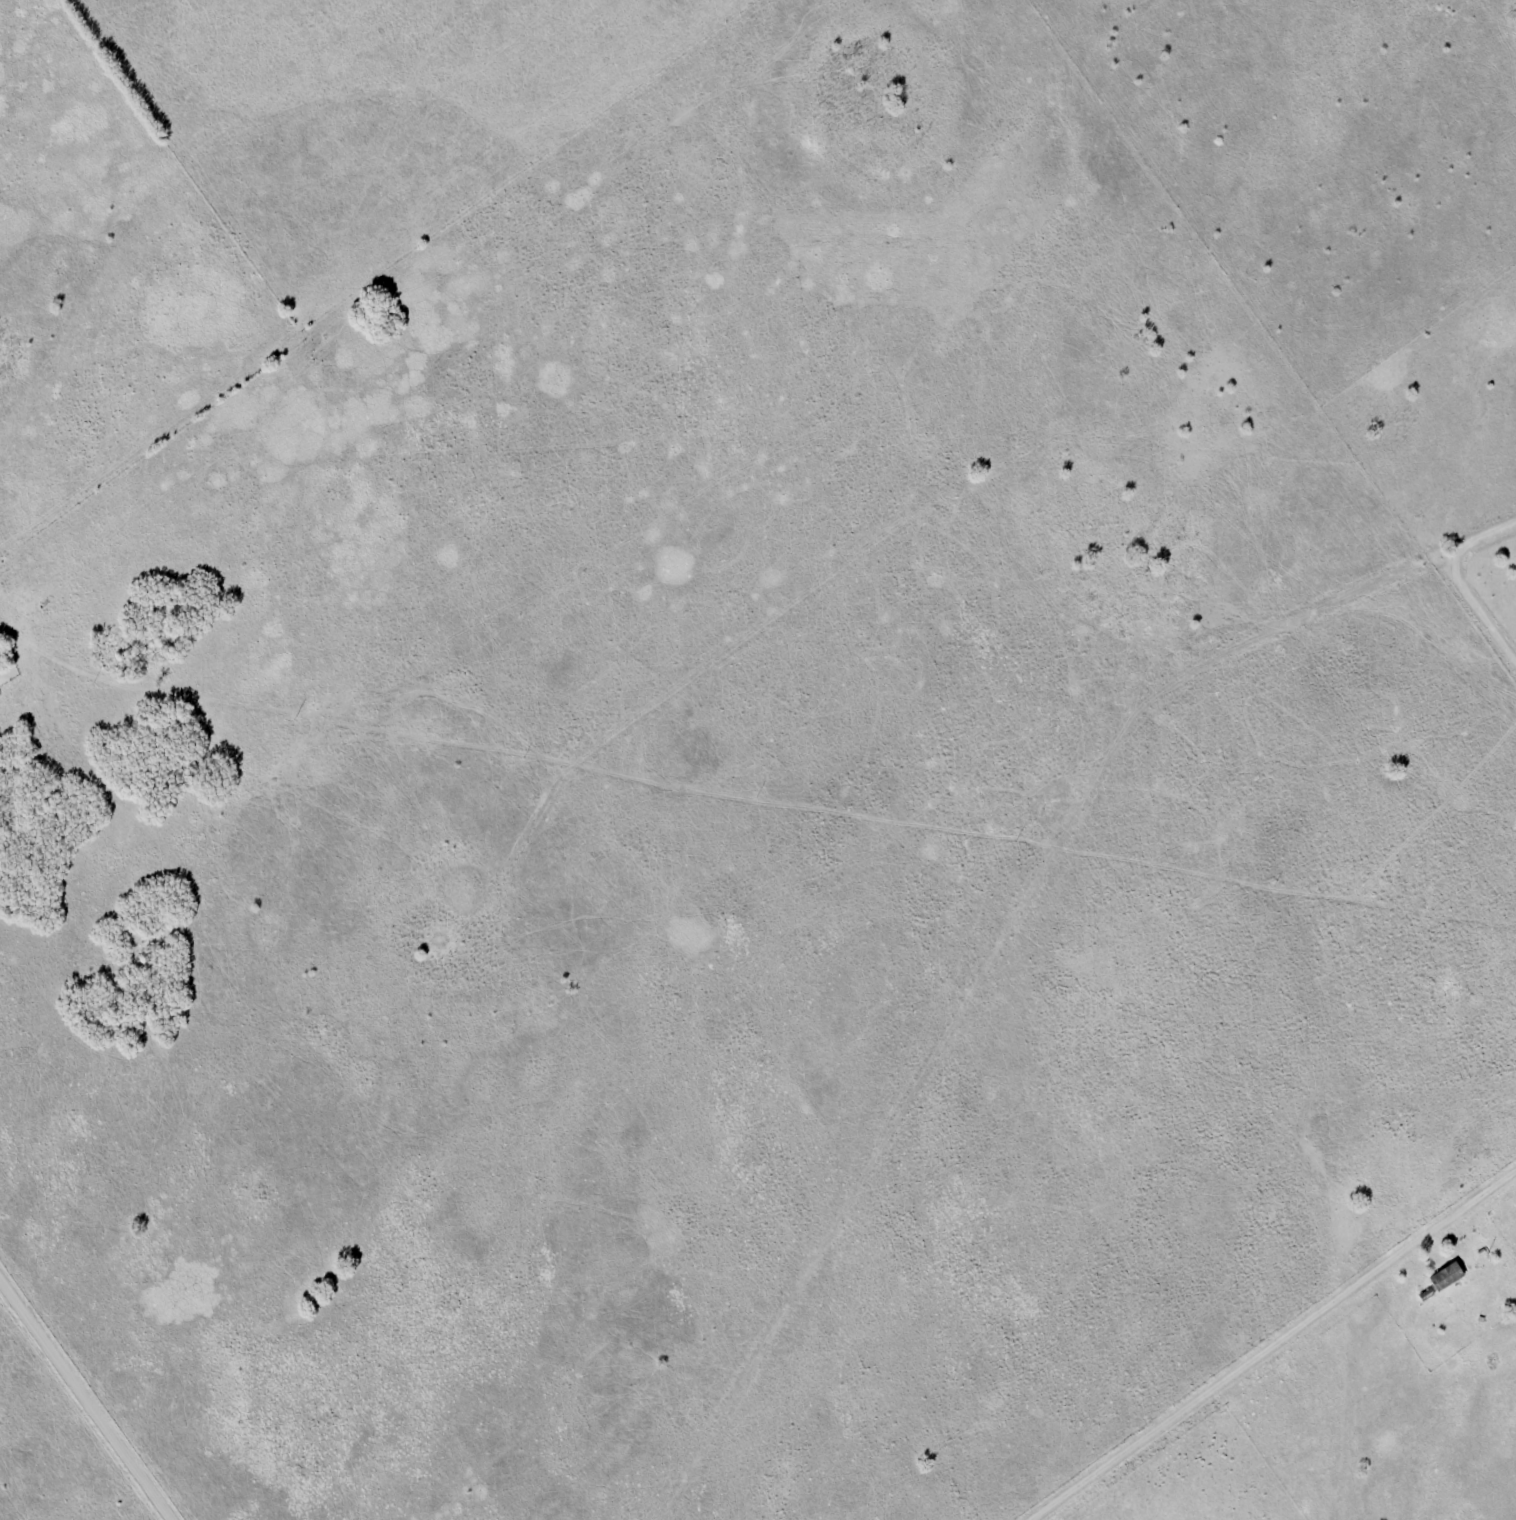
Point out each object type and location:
road: (88, 1395)

